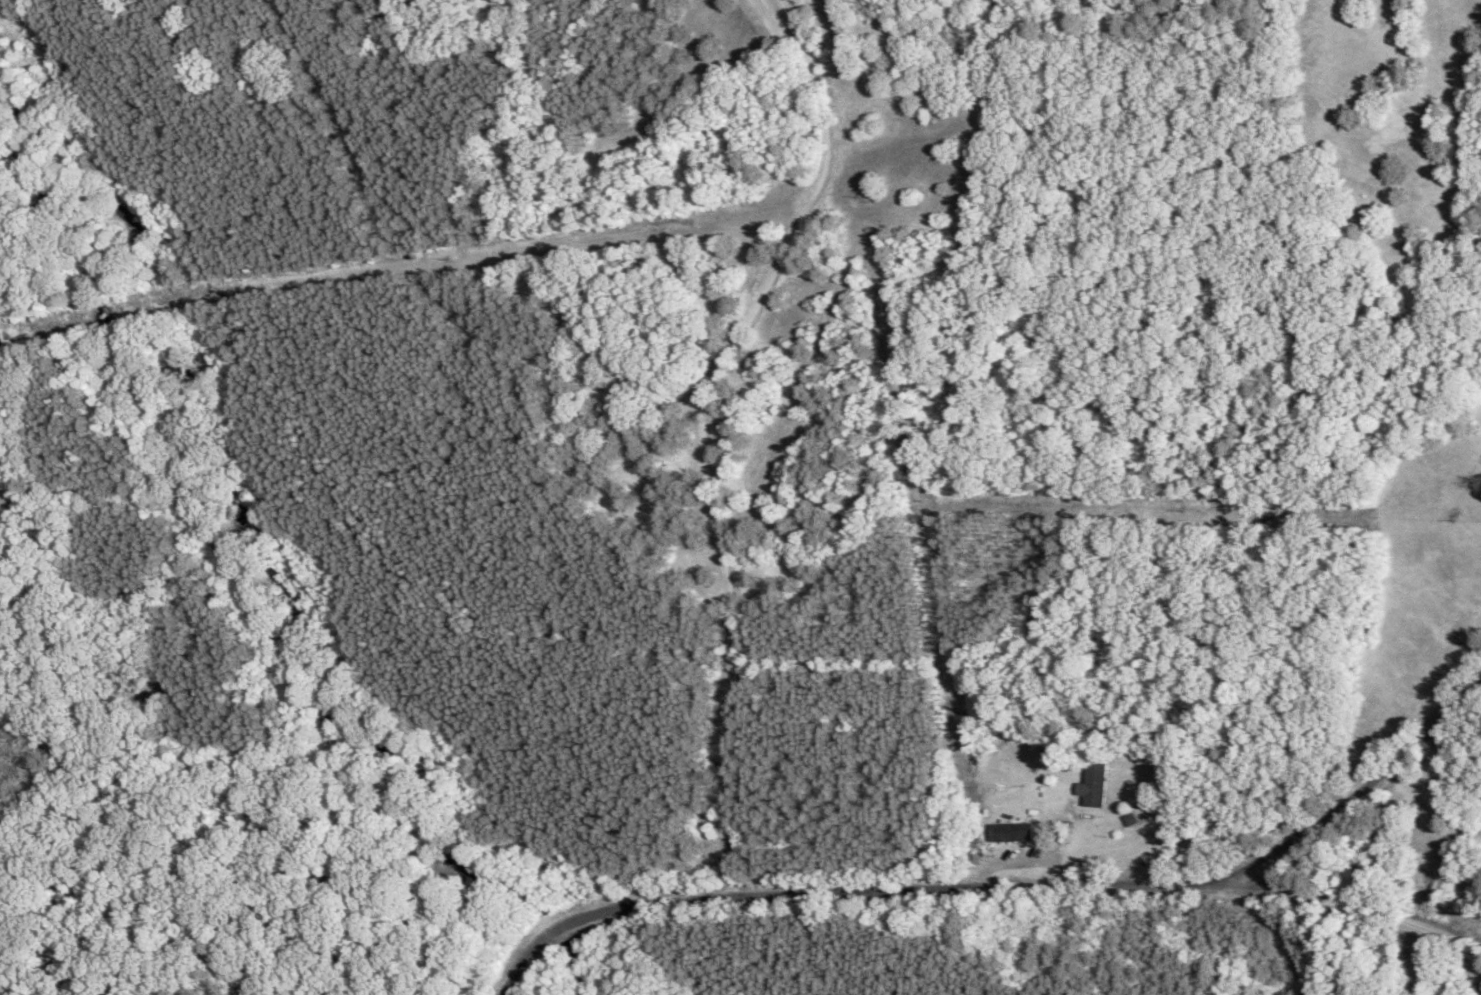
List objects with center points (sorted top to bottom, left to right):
road: (705, 456)
building: (1094, 782)
road: (1368, 803)
building: (1013, 831)
road: (1376, 906)
road: (847, 907)

